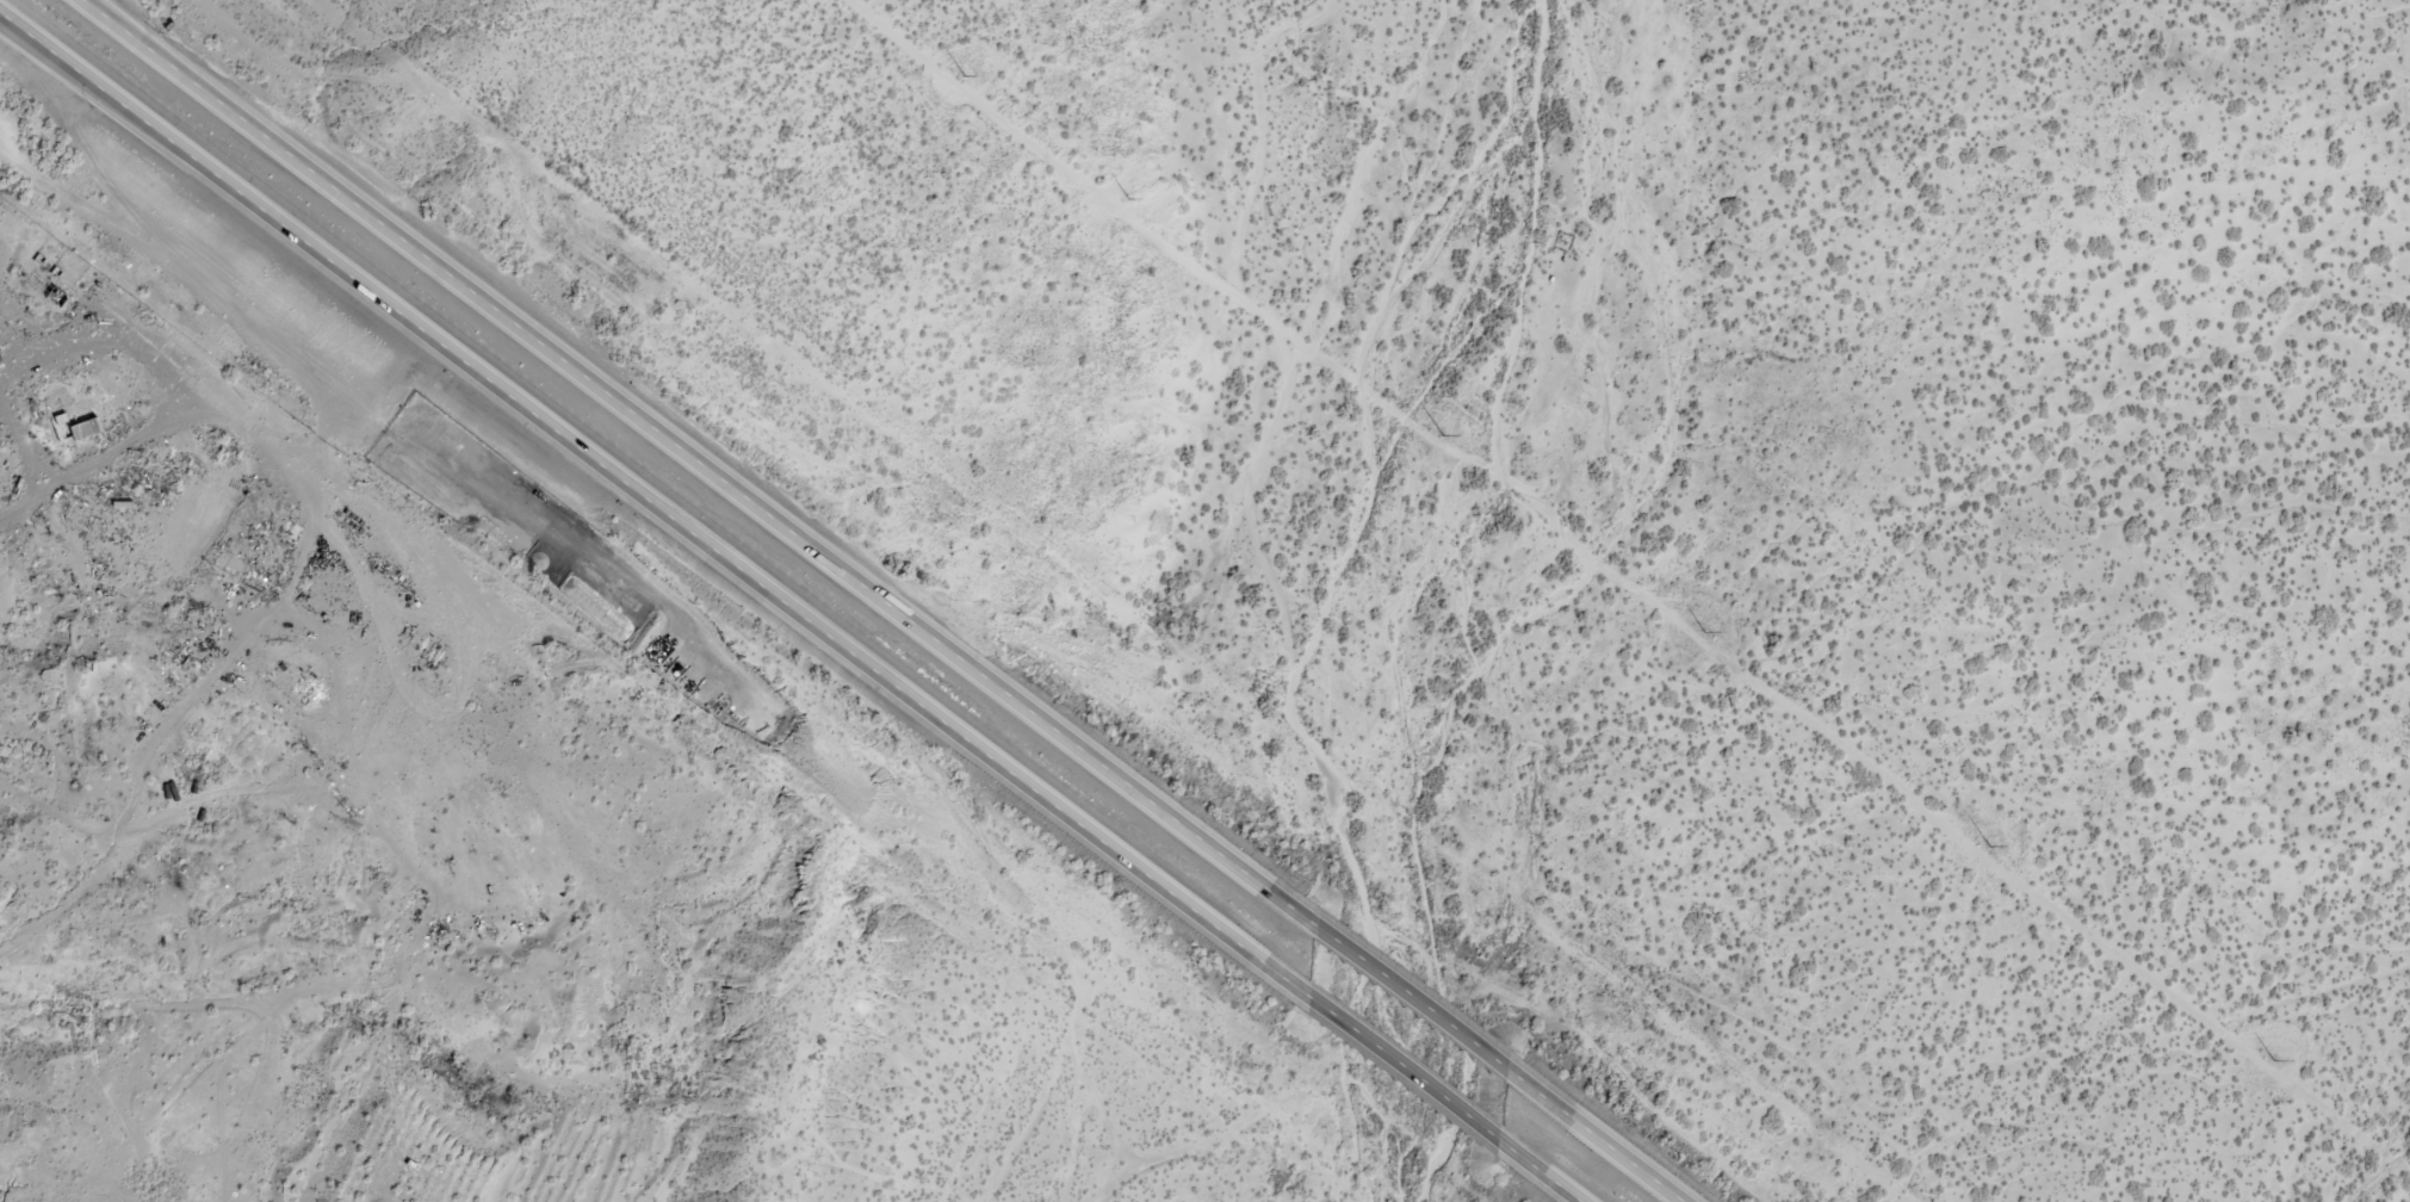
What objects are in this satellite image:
road: (89, 7)
road: (68, 76)
road: (1320, 309)
building: (74, 423)
road: (705, 467)
road: (662, 508)
road: (118, 886)
road: (1419, 1006)
road: (1413, 1074)
road: (1594, 1138)
road: (1544, 1172)

